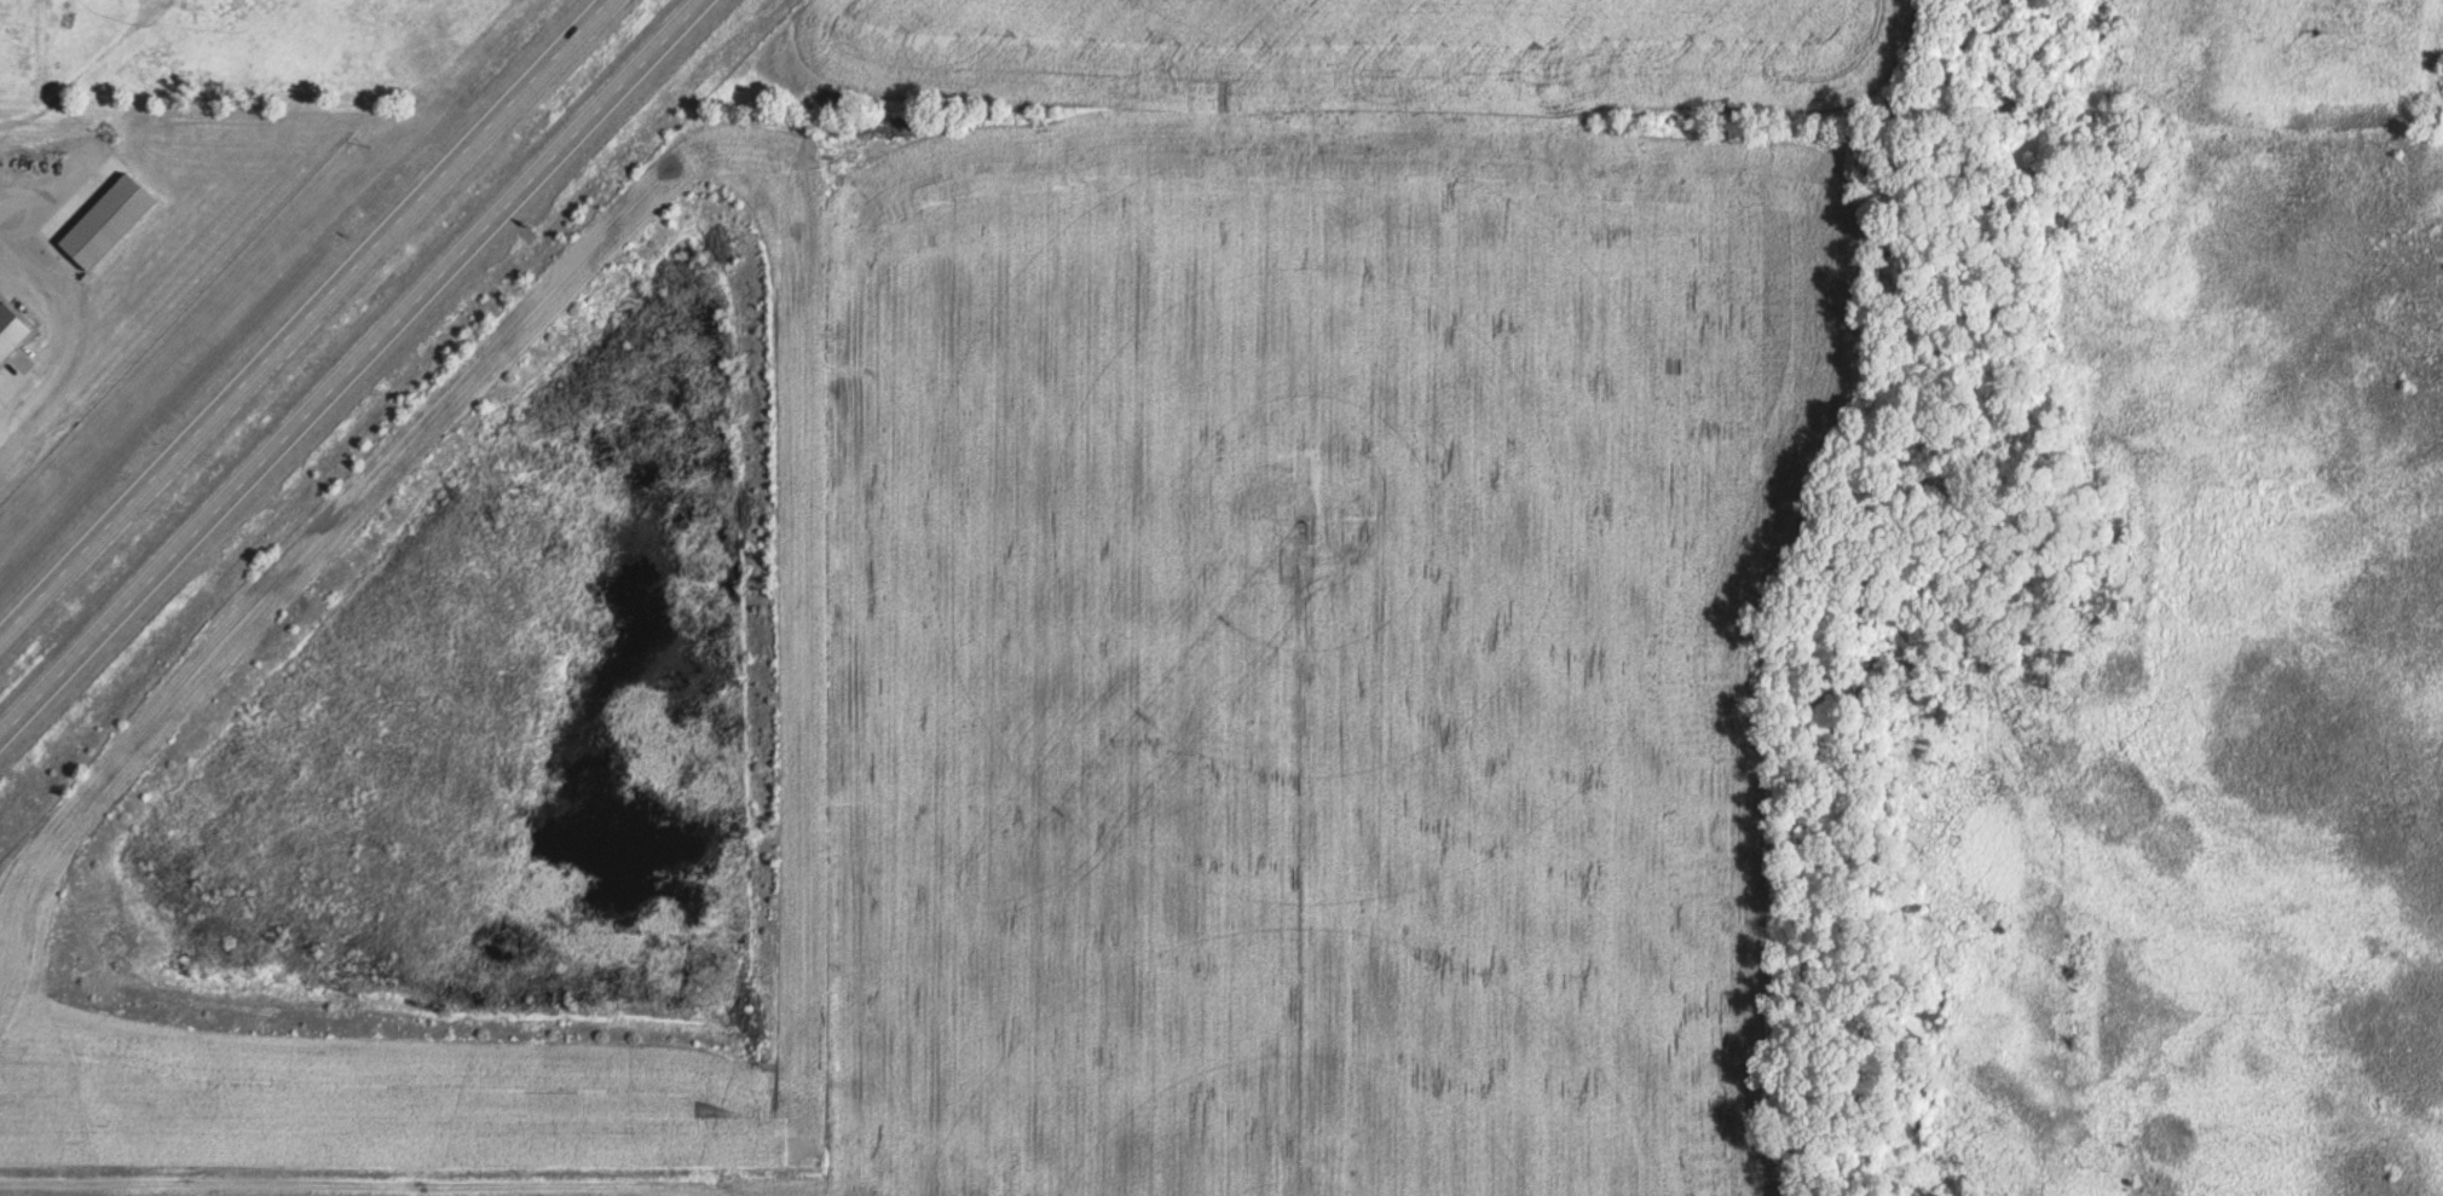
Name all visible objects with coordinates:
building: (112, 218)
road: (302, 318)
road: (365, 371)

